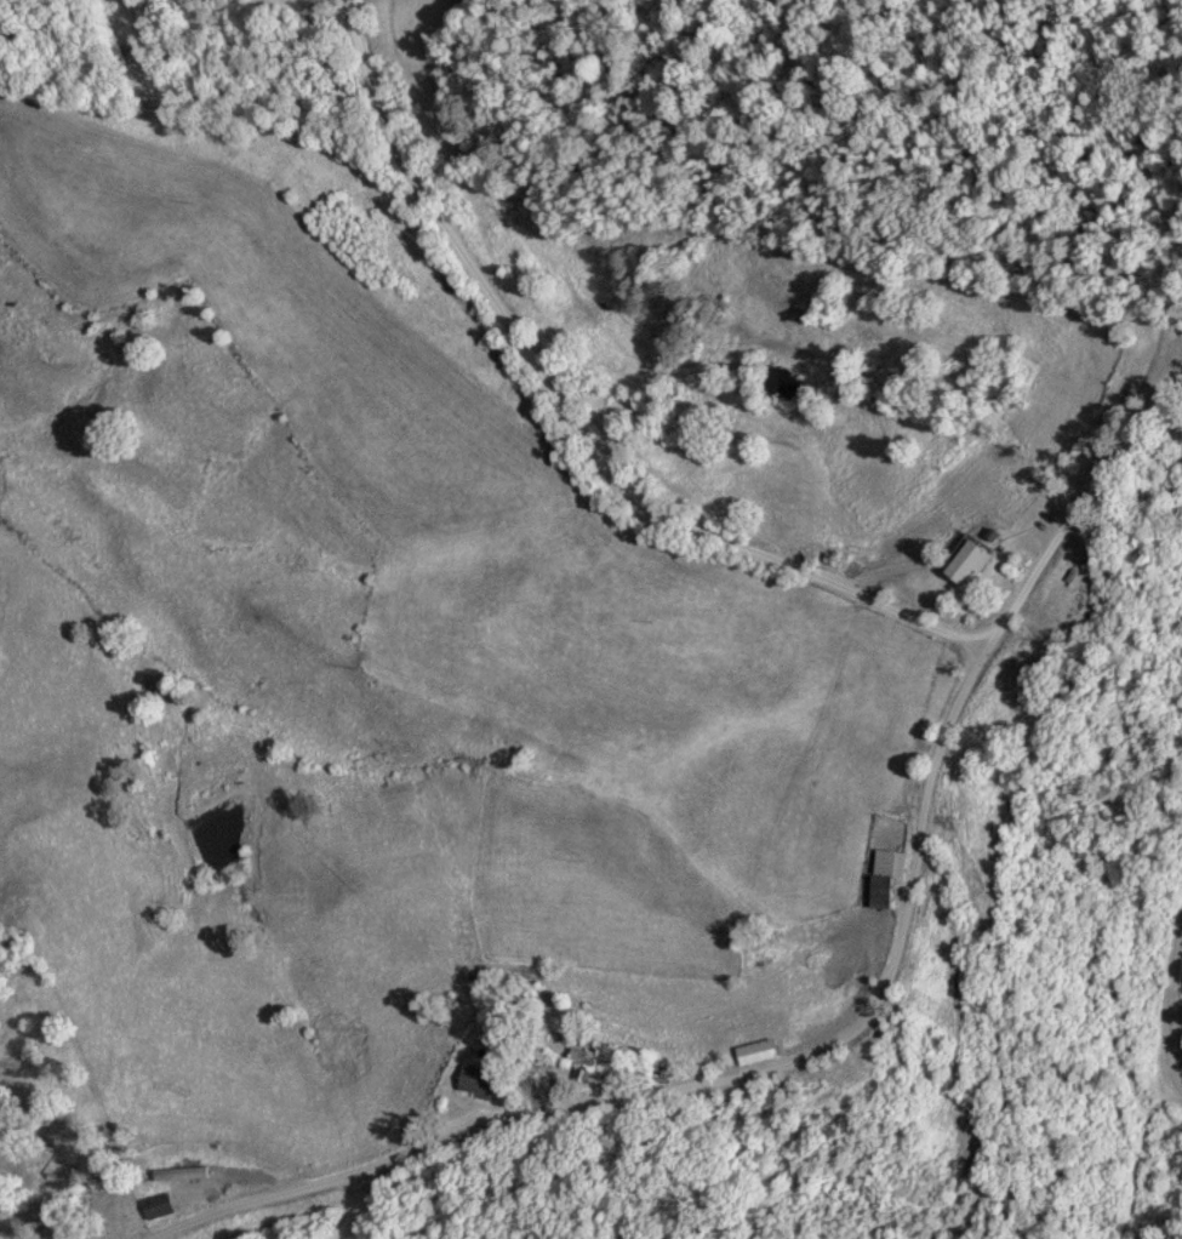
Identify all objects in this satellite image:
road: (698, 527)
road: (926, 792)
road: (1165, 1000)
road: (554, 1104)

